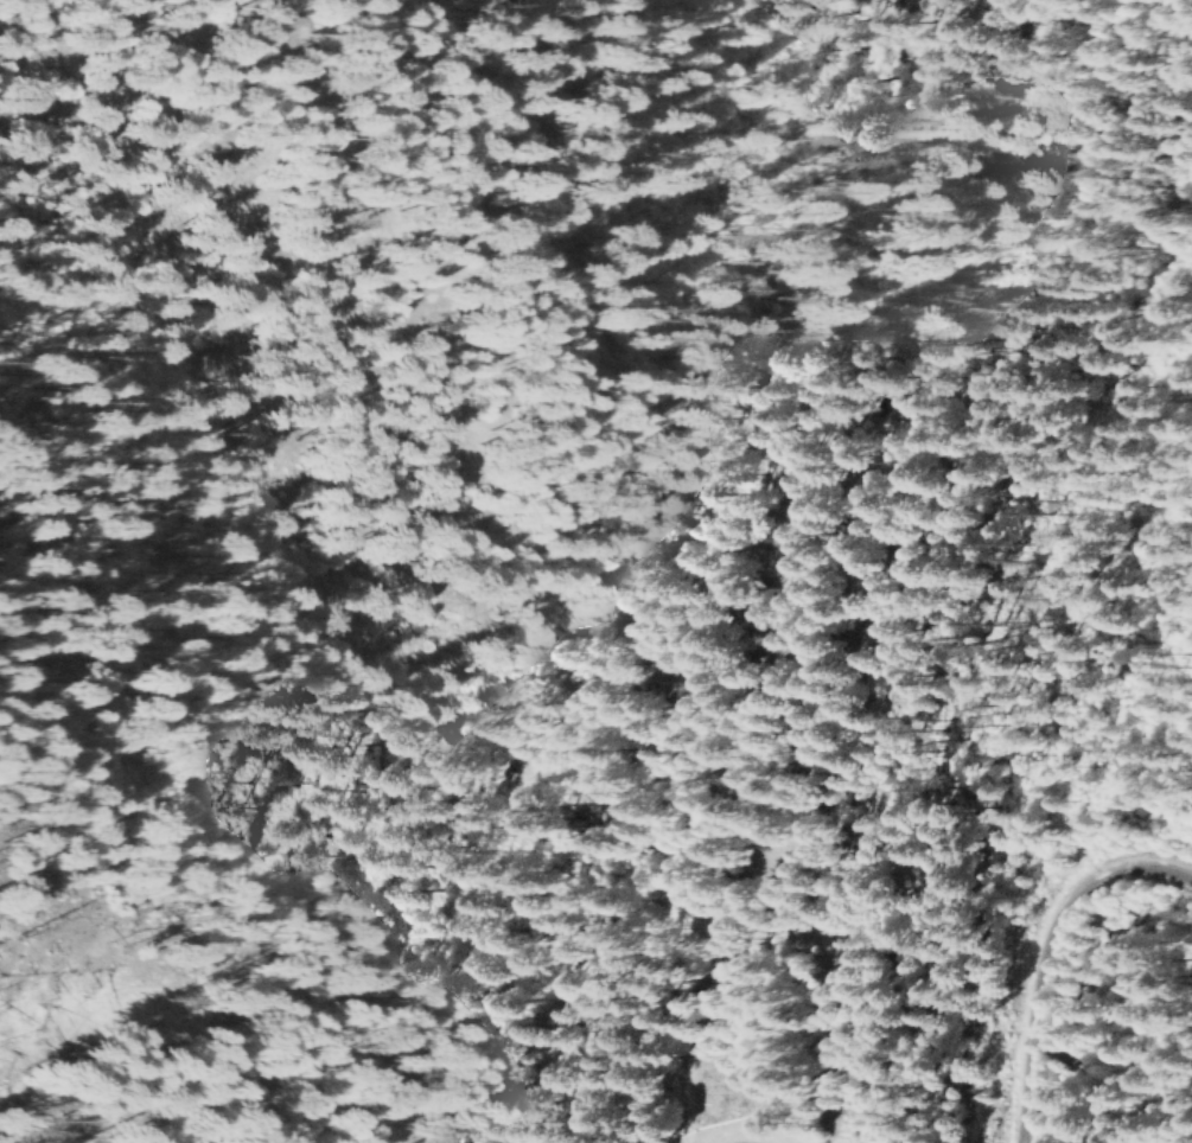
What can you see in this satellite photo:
road: (1032, 939)

